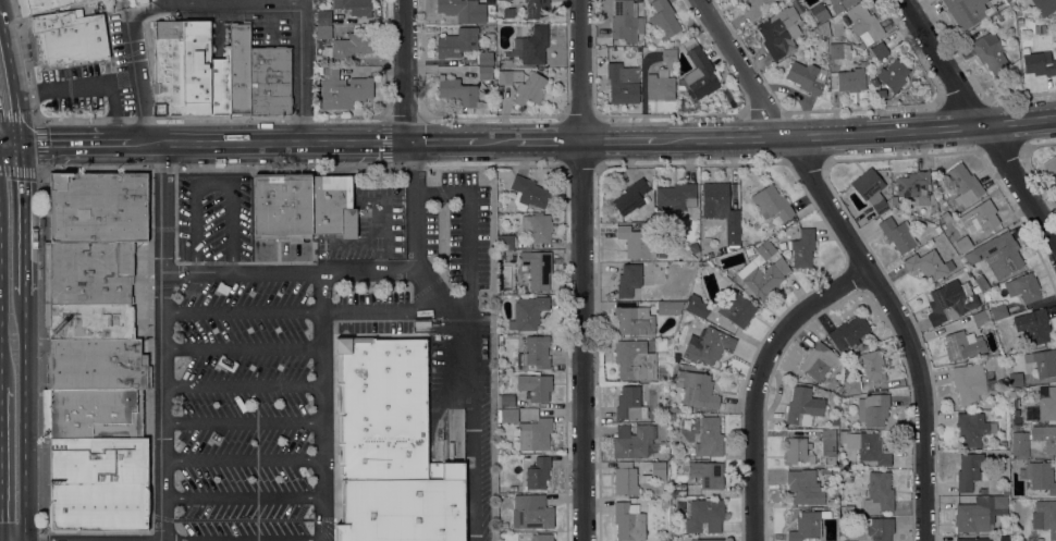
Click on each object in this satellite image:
building: (837, 1)
building: (137, 2)
building: (1049, 3)
building: (41, 5)
building: (799, 5)
building: (354, 7)
building: (756, 8)
building: (536, 9)
building: (463, 10)
building: (968, 11)
building: (818, 13)
building: (323, 17)
building: (664, 19)
building: (625, 21)
building: (1019, 21)
building: (863, 22)
building: (1039, 29)
building: (323, 32)
building: (779, 32)
building: (70, 36)
building: (489, 36)
building: (456, 42)
building: (532, 45)
building: (348, 47)
building: (838, 50)
building: (879, 50)
building: (990, 52)
building: (668, 54)
building: (484, 57)
road: (134, 61)
building: (509, 62)
building: (1037, 62)
building: (168, 69)
building: (195, 69)
building: (240, 69)
road: (300, 71)
road: (404, 71)
building: (484, 73)
building: (700, 75)
building: (893, 75)
road: (12, 76)
building: (806, 76)
building: (270, 79)
building: (847, 79)
building: (874, 82)
building: (623, 83)
road: (89, 85)
building: (521, 85)
building: (219, 86)
building: (660, 86)
building: (342, 89)
building: (457, 91)
building: (881, 93)
road: (981, 119)
road: (539, 142)
road: (11, 145)
building: (1051, 167)
road: (212, 183)
building: (963, 183)
building: (916, 187)
building: (871, 190)
building: (528, 193)
building: (676, 196)
building: (630, 197)
building: (714, 199)
building: (894, 199)
building: (772, 202)
building: (284, 206)
building: (334, 206)
building: (97, 207)
building: (945, 216)
building: (980, 217)
road: (26, 219)
building: (537, 226)
road: (468, 230)
building: (937, 230)
building: (733, 234)
building: (898, 234)
road: (384, 236)
building: (506, 242)
building: (637, 242)
building: (963, 244)
building: (801, 248)
building: (765, 249)
building: (661, 254)
building: (997, 254)
road: (860, 256)
building: (690, 265)
building: (929, 265)
building: (535, 269)
road: (584, 270)
road: (287, 271)
building: (87, 273)
building: (628, 280)
building: (760, 280)
building: (981, 282)
road: (420, 283)
building: (1023, 287)
road: (318, 291)
building: (985, 296)
building: (955, 300)
building: (697, 306)
building: (668, 307)
building: (737, 308)
building: (998, 311)
building: (528, 312)
building: (686, 316)
building: (980, 318)
building: (634, 320)
building: (88, 322)
building: (1033, 325)
railway: (13, 328)
building: (848, 333)
building: (500, 340)
road: (161, 341)
building: (959, 344)
road: (240, 345)
building: (708, 345)
road: (319, 346)
building: (535, 353)
road: (44, 356)
building: (675, 357)
building: (634, 360)
building: (819, 361)
building: (1042, 361)
building: (96, 364)
building: (870, 366)
road: (758, 379)
building: (1015, 379)
building: (971, 382)
road: (241, 385)
building: (535, 386)
building: (851, 386)
building: (664, 388)
building: (697, 389)
building: (831, 389)
building: (648, 393)
building: (505, 401)
building: (1046, 403)
building: (629, 404)
building: (803, 406)
building: (381, 408)
building: (873, 409)
road: (469, 411)
building: (507, 415)
road: (27, 417)
building: (834, 420)
building: (1011, 420)
road: (241, 421)
building: (834, 426)
building: (1017, 427)
building: (972, 429)
building: (535, 434)
building: (1045, 437)
building: (506, 438)
building: (709, 438)
building: (827, 439)
building: (633, 441)
building: (675, 444)
building: (1019, 445)
building: (867, 446)
building: (796, 450)
road: (241, 457)
building: (96, 459)
building: (832, 460)
building: (842, 466)
building: (825, 471)
building: (834, 471)
building: (970, 471)
building: (538, 472)
building: (654, 472)
building: (703, 472)
building: (1039, 477)
building: (625, 479)
building: (849, 479)
building: (803, 487)
building: (676, 490)
building: (983, 491)
building: (1006, 491)
road: (241, 493)
building: (879, 493)
building: (663, 503)
building: (404, 507)
building: (531, 512)
building: (979, 514)
building: (704, 516)
building: (1048, 518)
building: (628, 521)
building: (808, 525)
building: (880, 528)
building: (535, 537)
building: (707, 539)
building: (974, 539)
building: (1006, 539)
building: (1021, 540)

